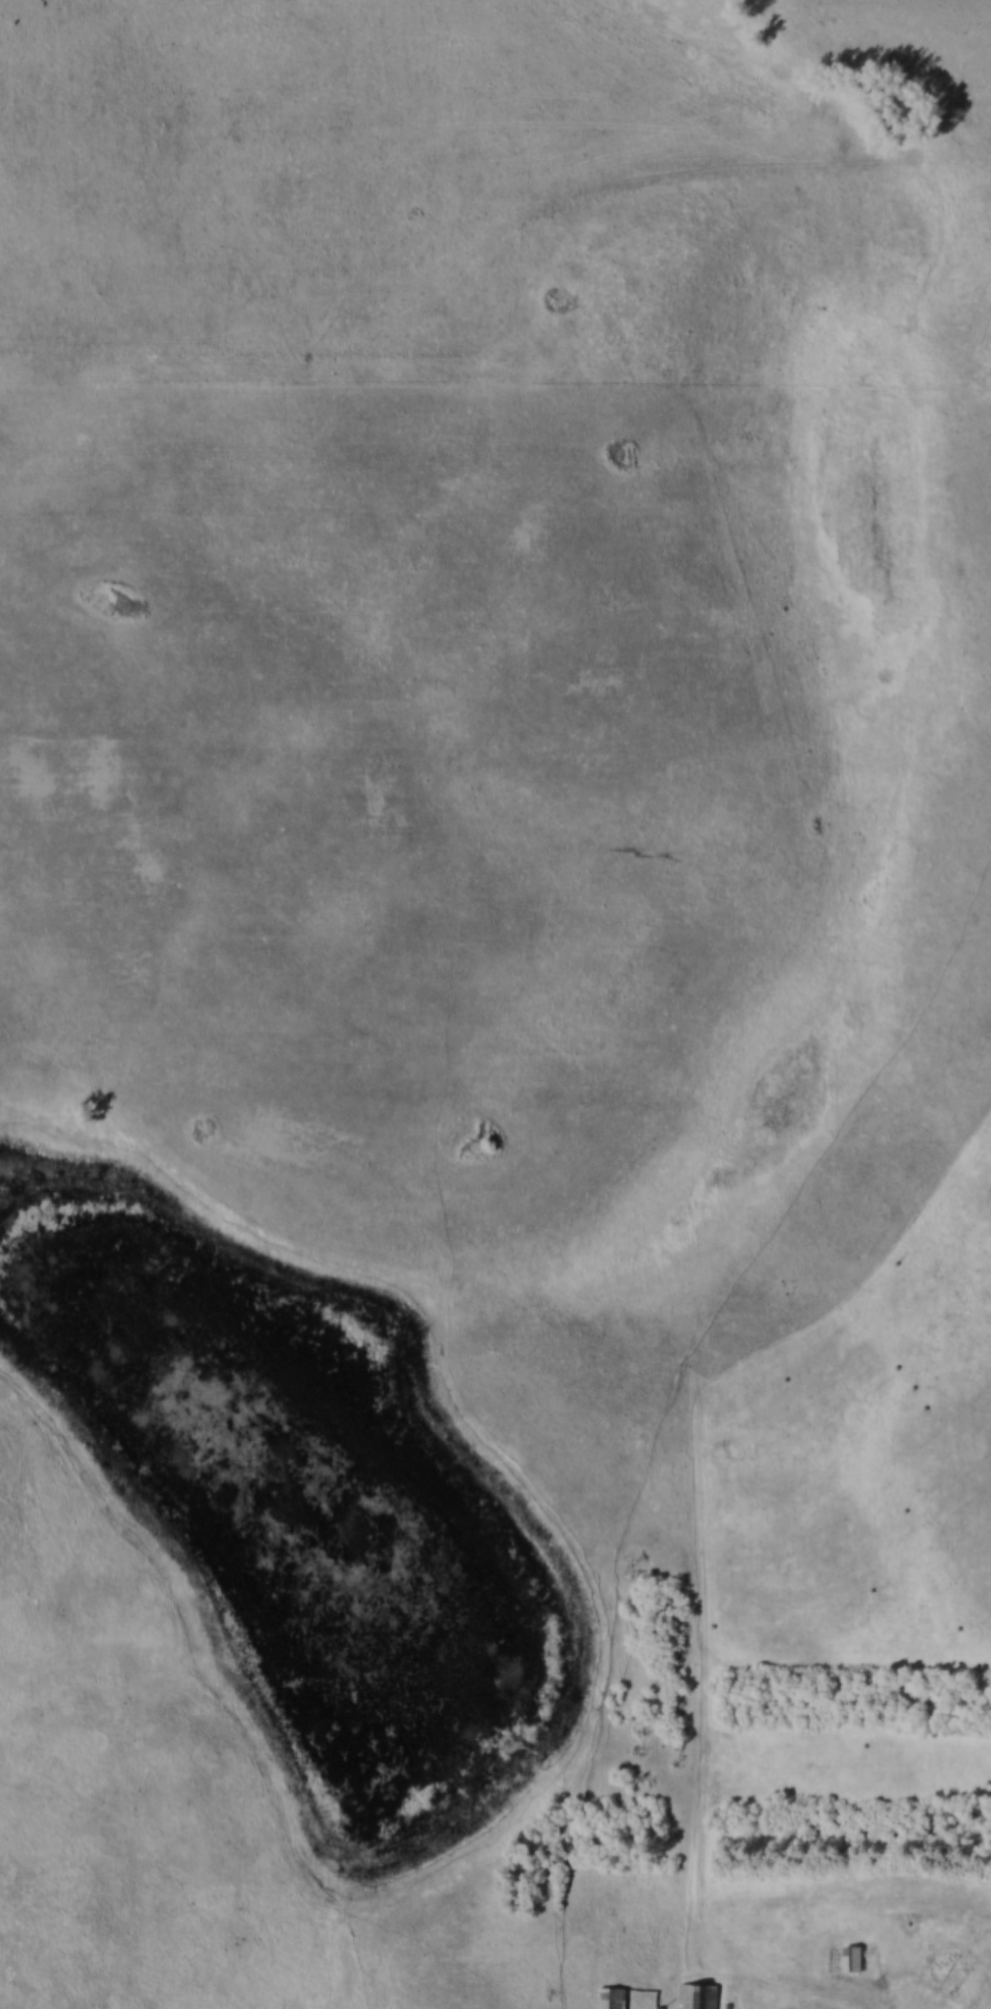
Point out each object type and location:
building: (852, 1959)
building: (945, 1964)
building: (697, 1996)
building: (611, 1997)
road: (878, 2007)

